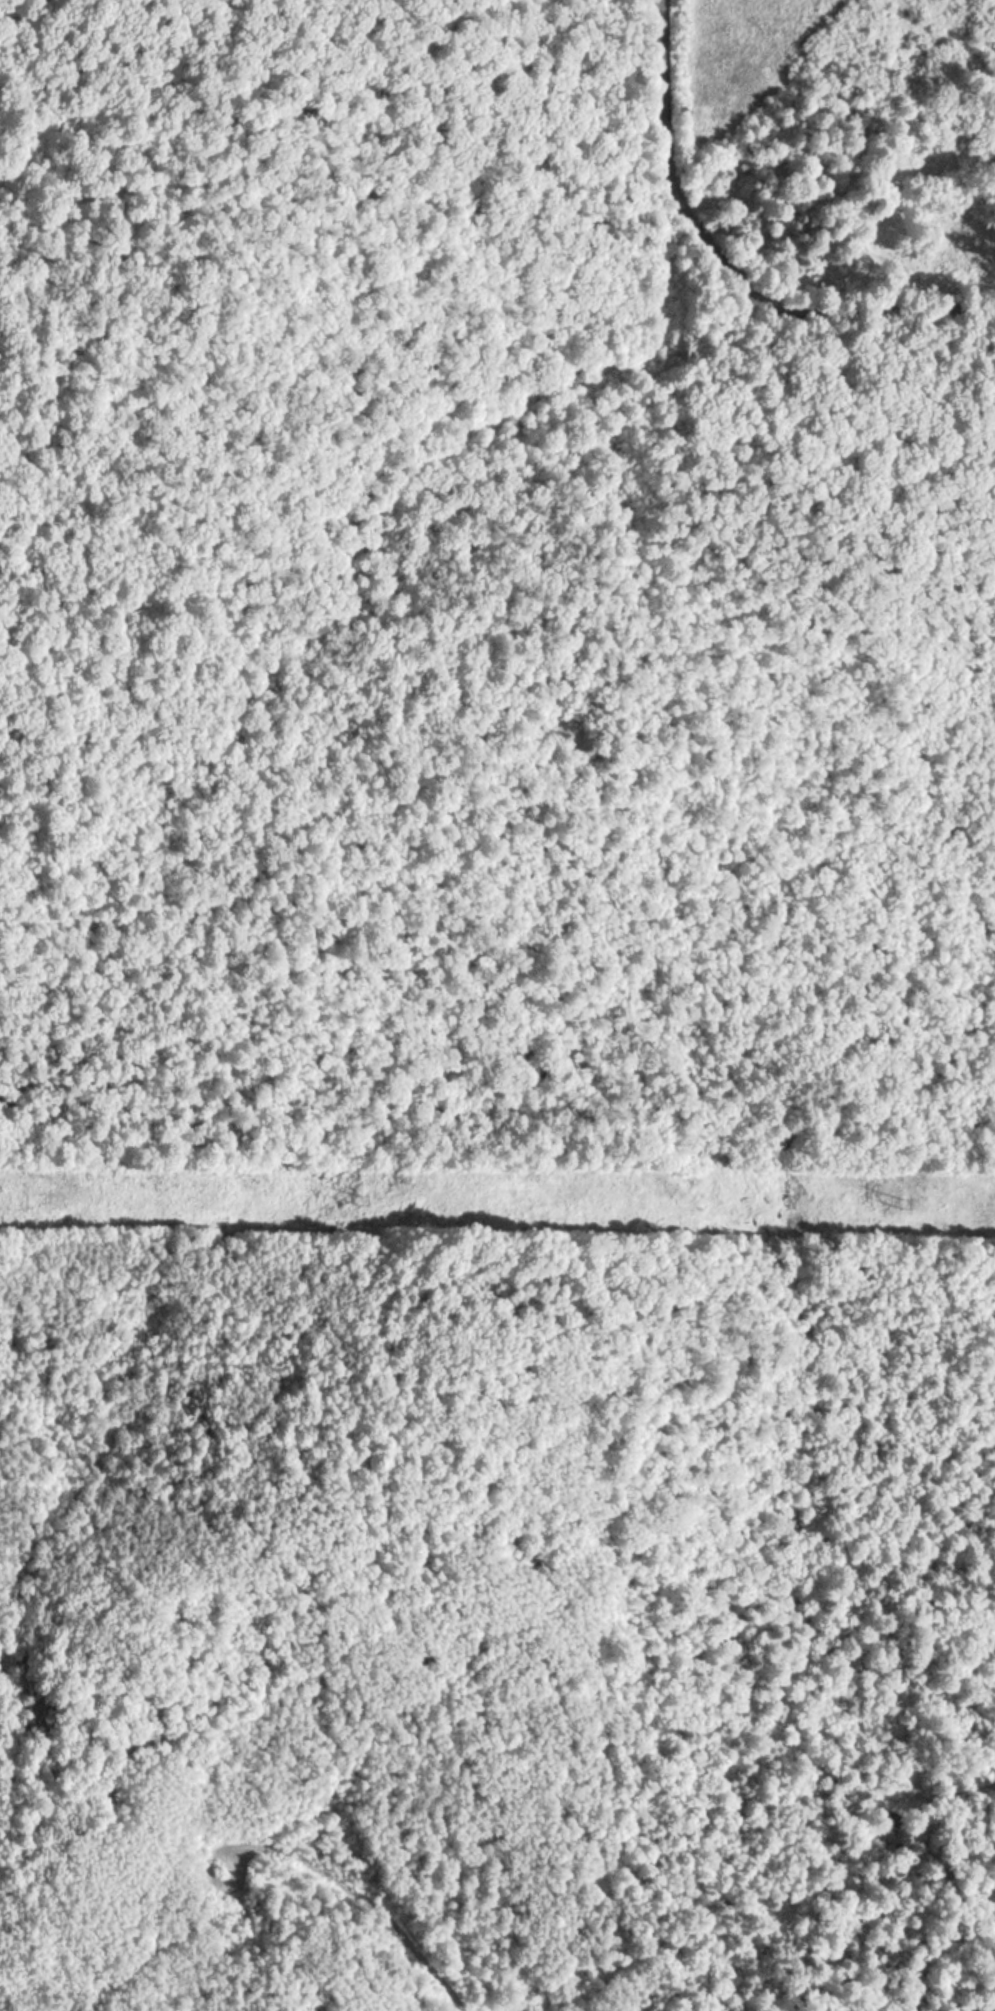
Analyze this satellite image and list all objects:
road: (424, 62)
road: (725, 260)
power tower: (360, 1203)
power tower: (898, 1206)
building: (886, 1823)

